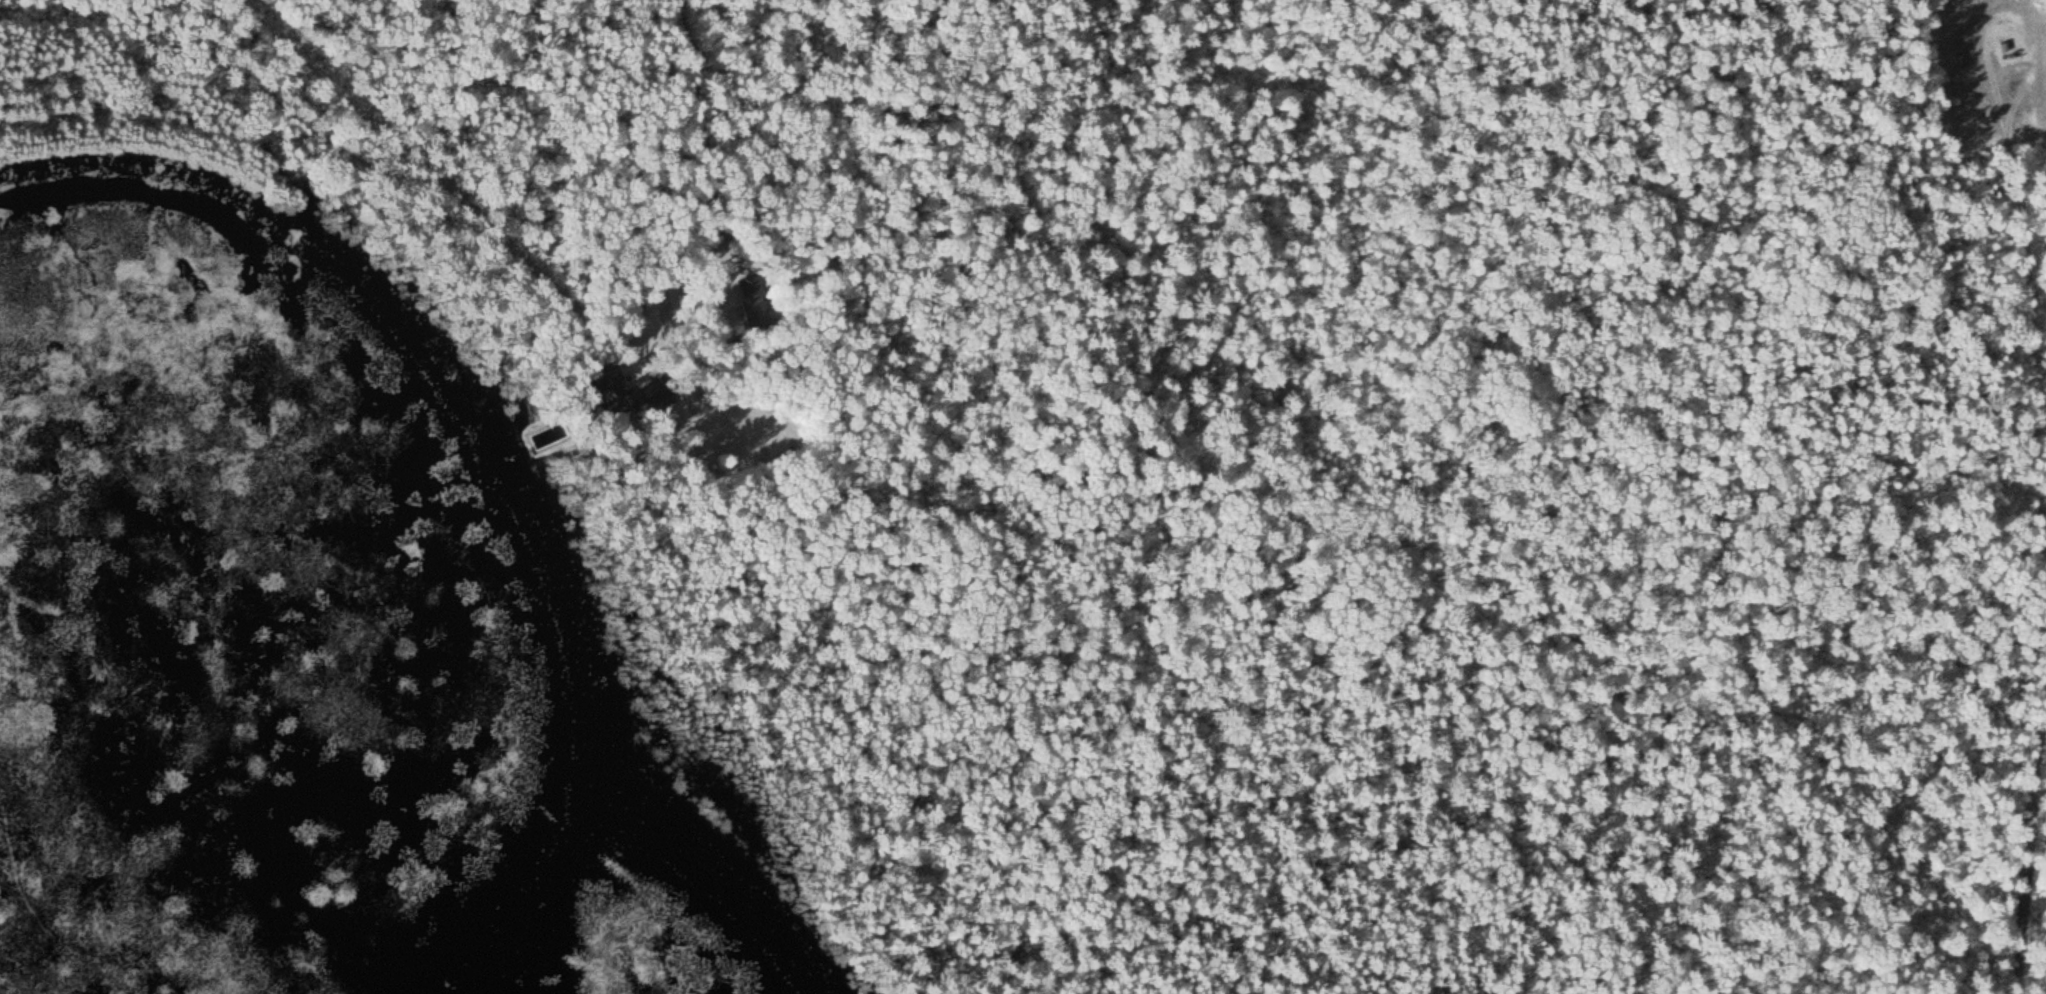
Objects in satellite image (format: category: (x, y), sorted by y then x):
petroleum well: (2002, 43)
road: (709, 136)
road: (460, 212)
building: (754, 302)
road: (2026, 323)
building: (765, 459)
road: (2030, 851)

